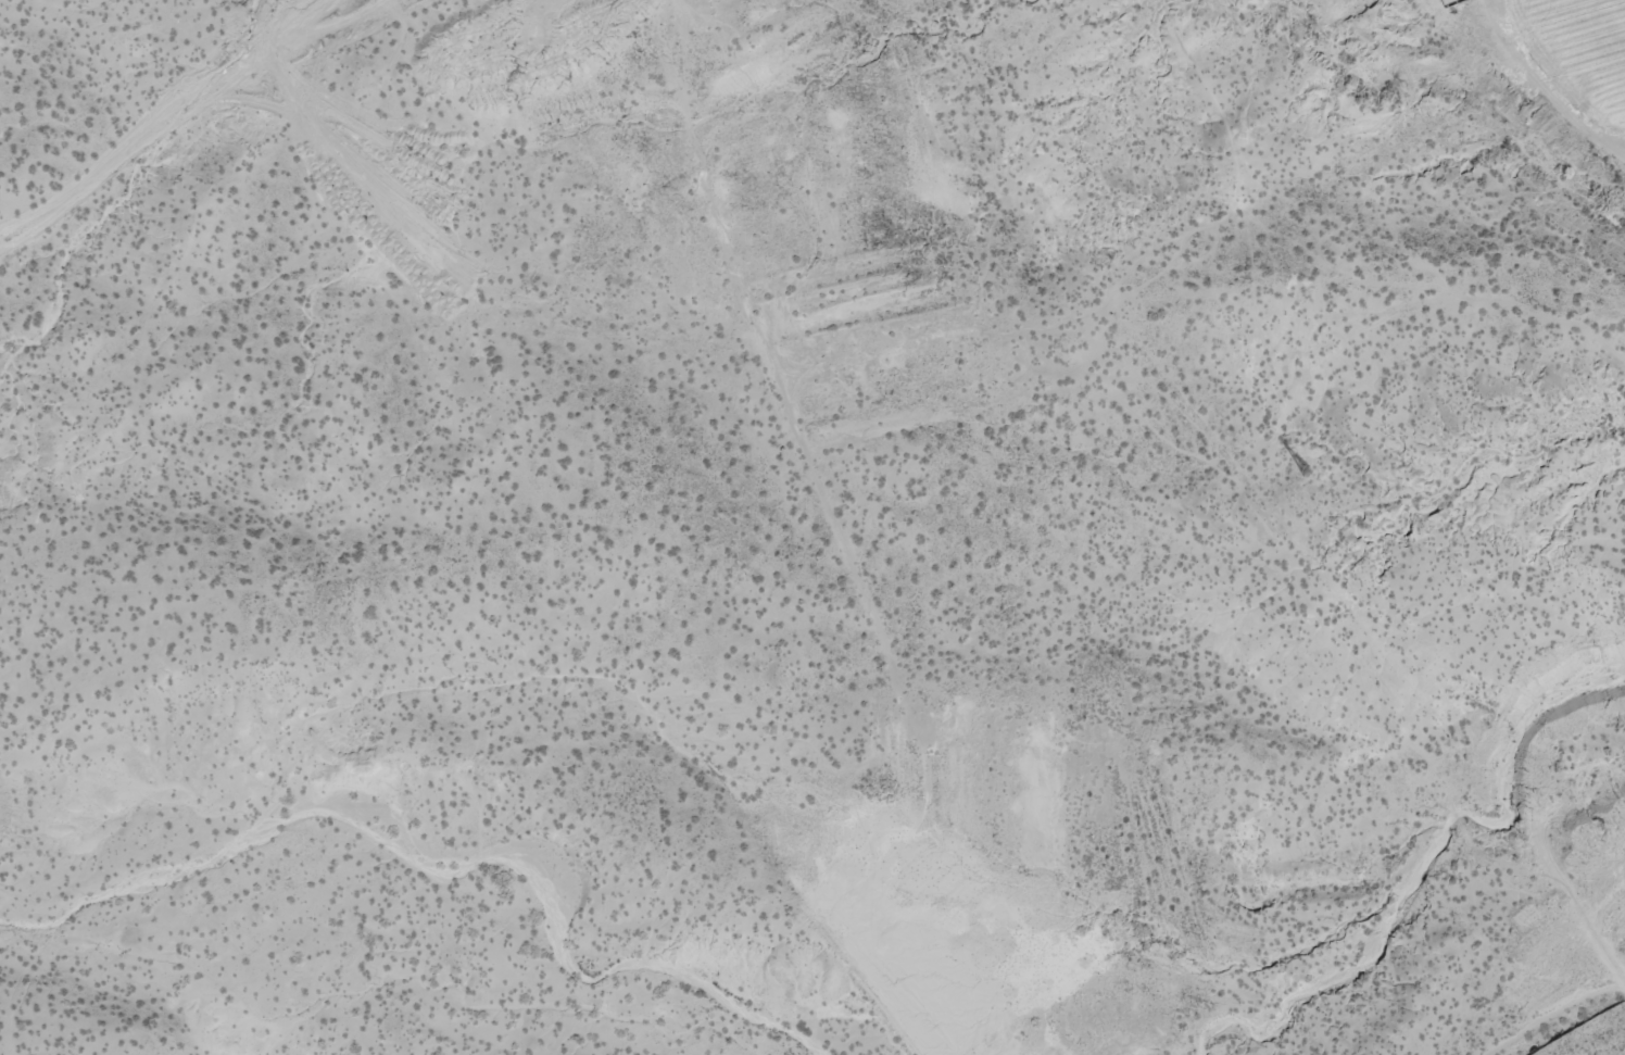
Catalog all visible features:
power tower: (1305, 469)

